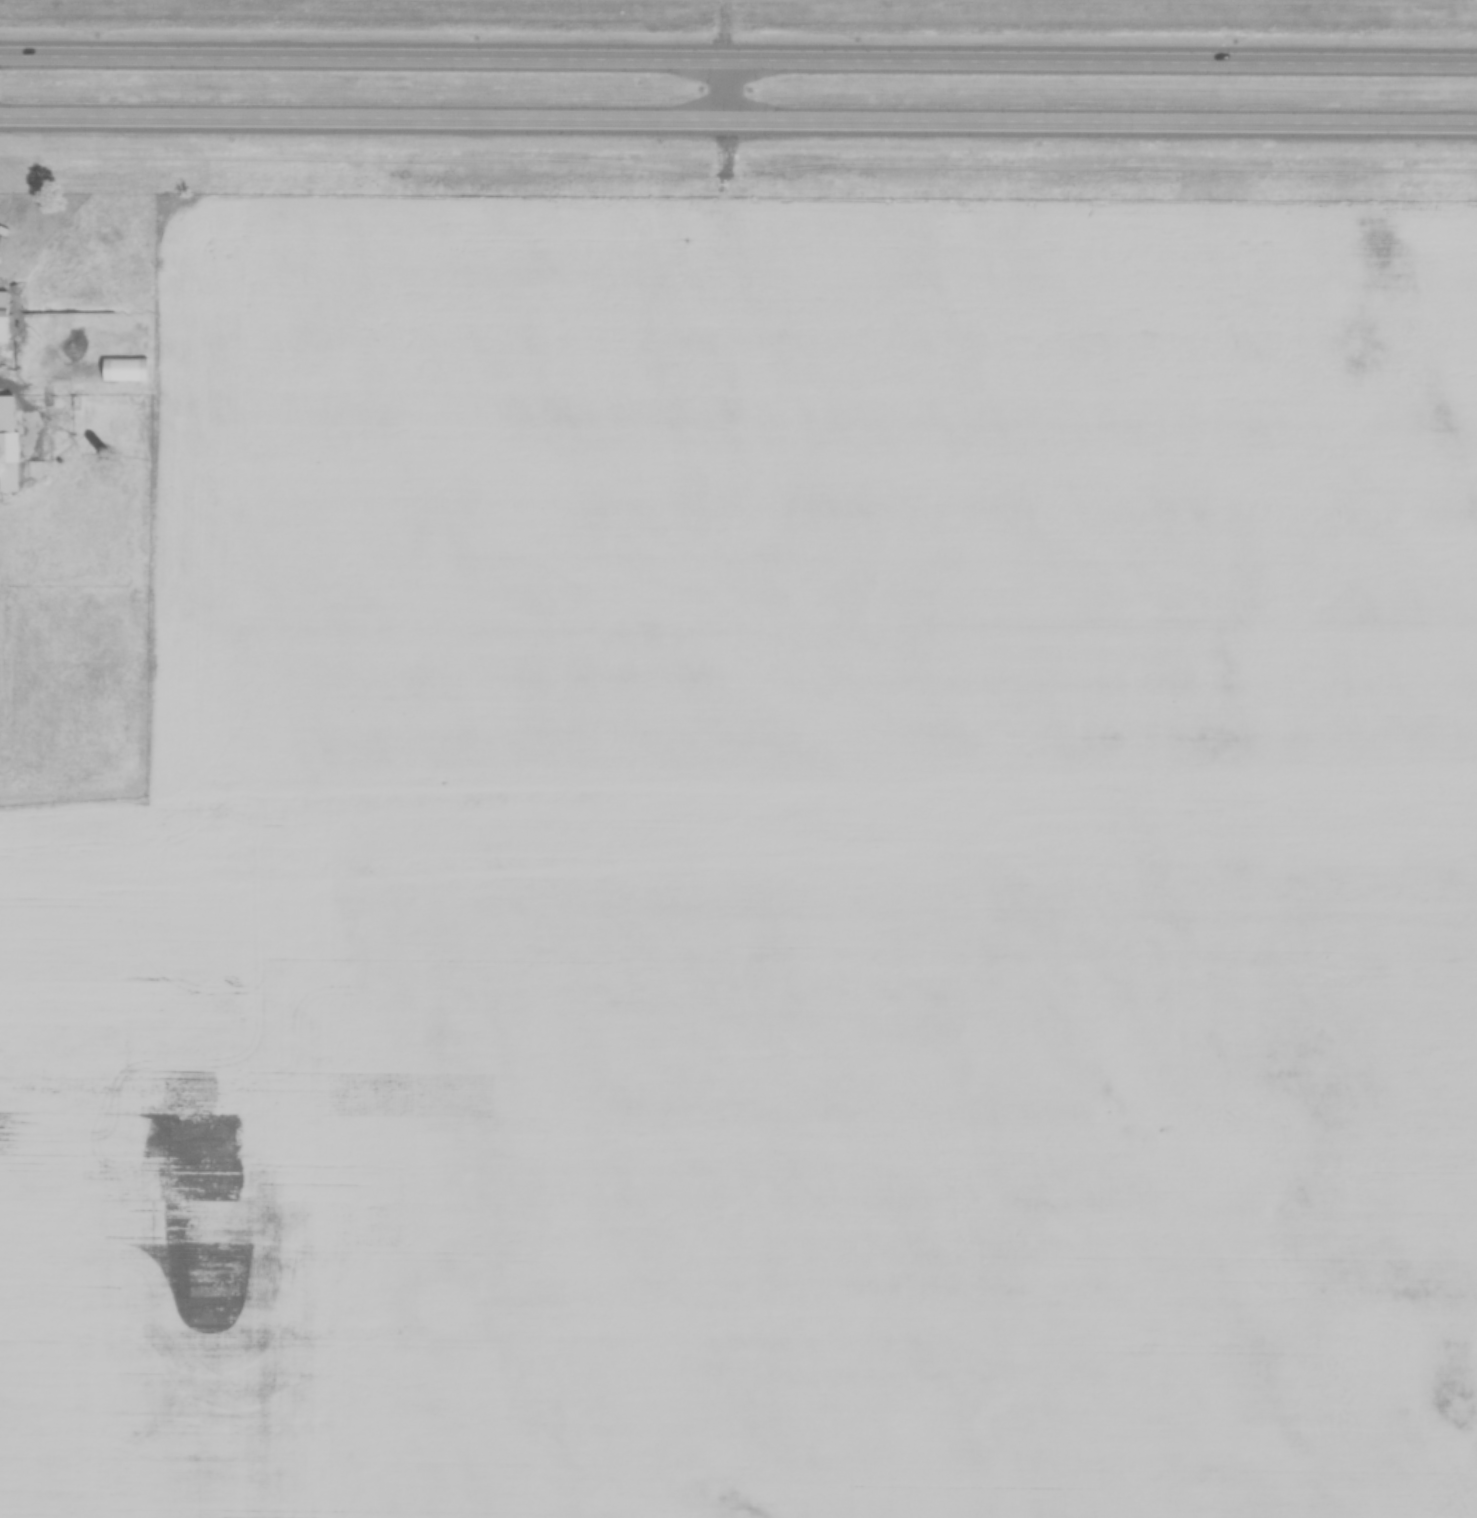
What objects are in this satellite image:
road: (725, 30)
road: (738, 60)
road: (725, 90)
road: (738, 121)
road: (724, 157)
building: (5, 315)
building: (127, 370)
building: (8, 444)
crop: (770, 874)

